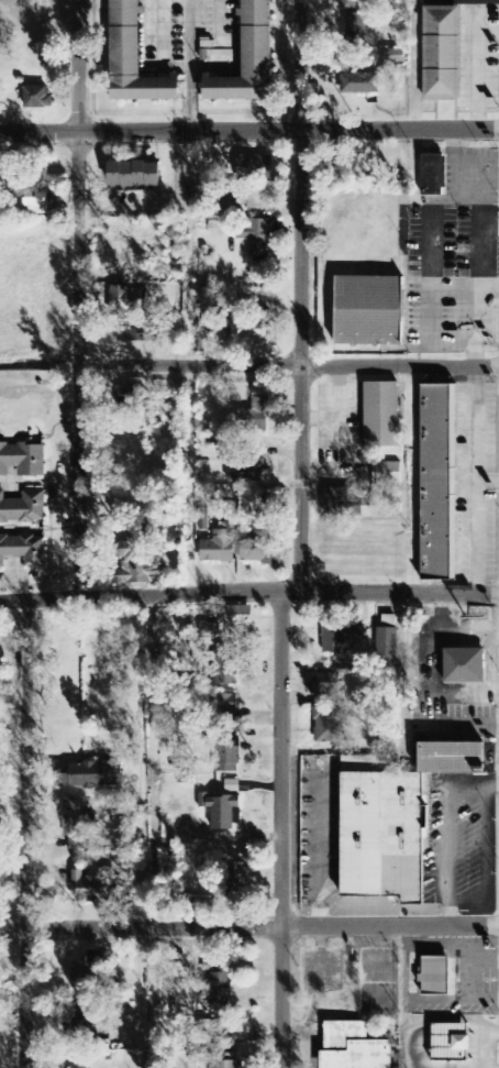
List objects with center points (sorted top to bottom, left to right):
building: (348, 5)
building: (355, 29)
building: (437, 52)
building: (396, 56)
building: (134, 59)
building: (249, 59)
building: (361, 85)
building: (37, 98)
road: (249, 129)
building: (255, 168)
building: (433, 172)
building: (135, 176)
building: (37, 203)
building: (232, 203)
building: (258, 238)
road: (78, 297)
road: (301, 297)
building: (129, 299)
building: (212, 300)
building: (368, 309)
building: (252, 329)
building: (142, 331)
road: (289, 366)
building: (131, 397)
building: (380, 412)
building: (23, 460)
building: (251, 472)
building: (387, 473)
building: (436, 480)
building: (337, 497)
building: (370, 507)
building: (23, 508)
building: (220, 547)
building: (23, 551)
building: (260, 552)
building: (137, 558)
road: (247, 595)
building: (237, 617)
building: (340, 631)
building: (388, 645)
building: (226, 665)
building: (465, 667)
building: (326, 684)
building: (224, 707)
building: (329, 725)
building: (228, 753)
building: (93, 777)
building: (223, 816)
building: (78, 824)
building: (396, 824)
road: (279, 832)
road: (25, 837)
building: (89, 888)
road: (249, 931)
building: (87, 970)
building: (435, 976)
building: (220, 983)
building: (452, 1043)
building: (353, 1046)
building: (228, 1060)

